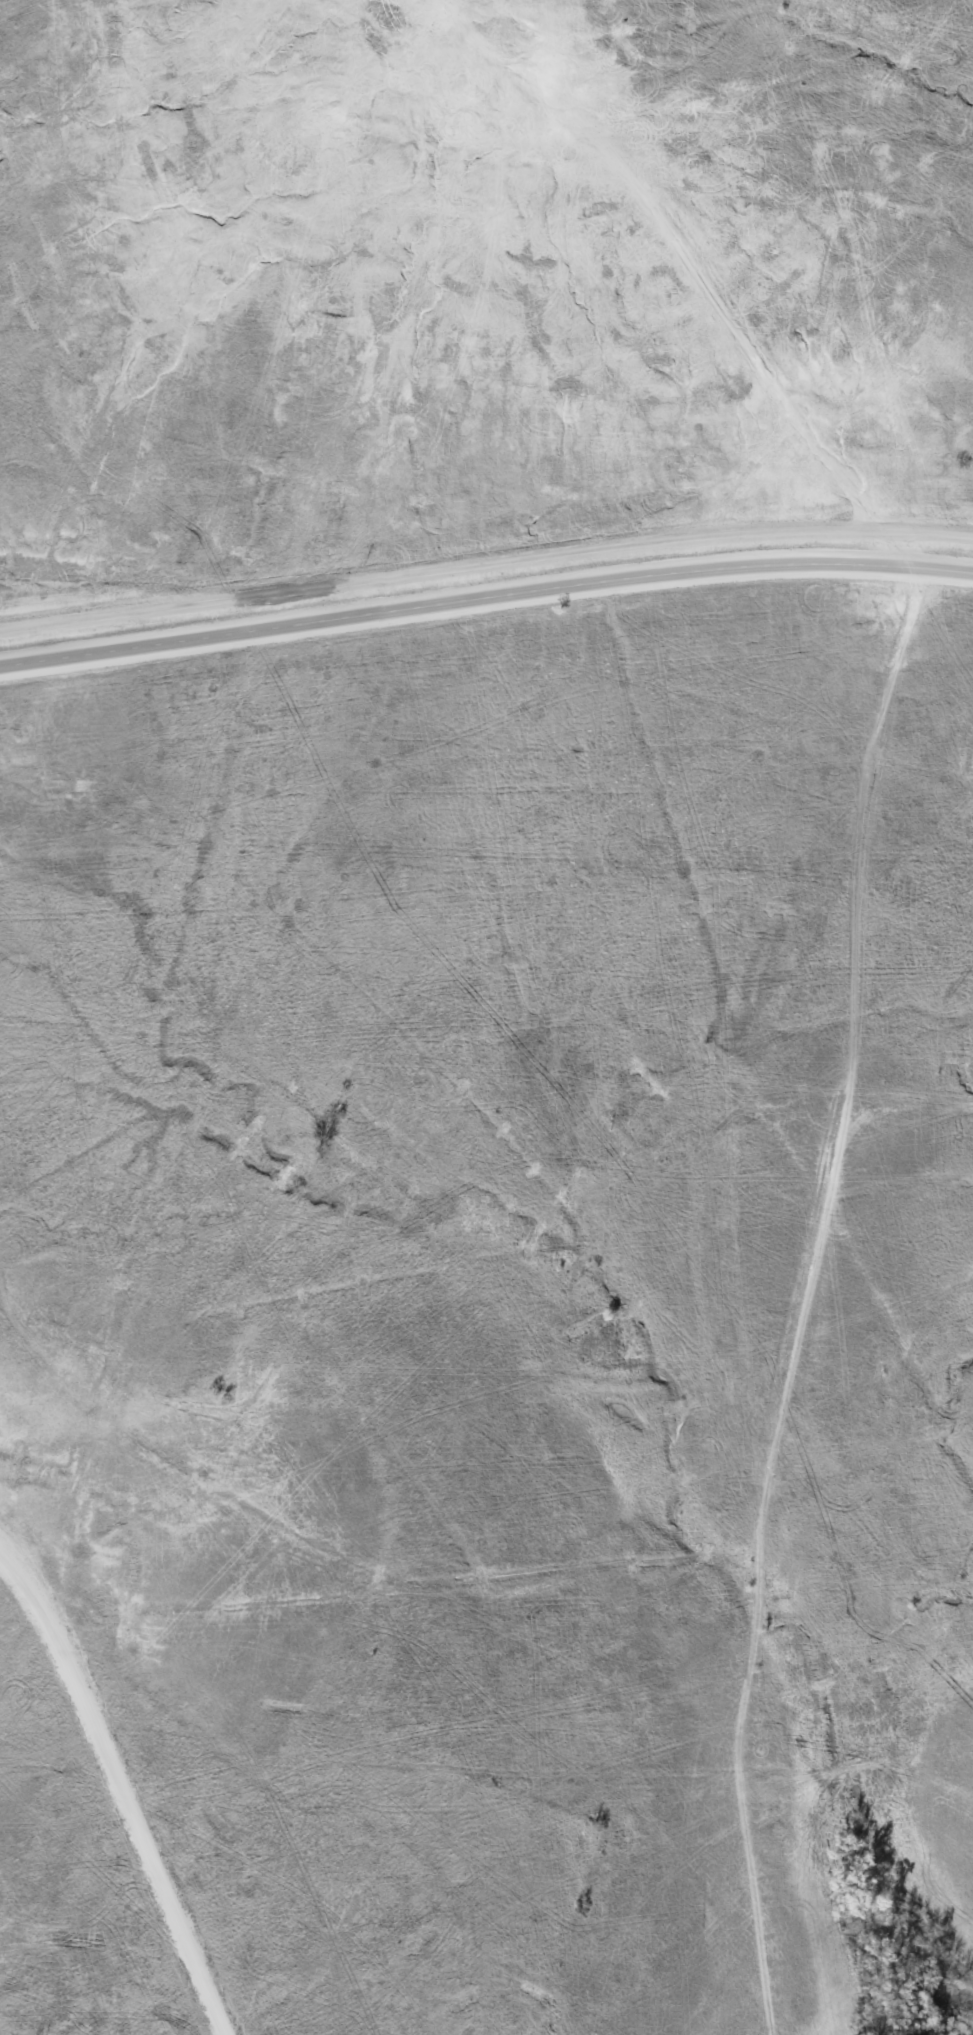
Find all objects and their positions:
road: (485, 563)
road: (485, 599)
road: (905, 617)

